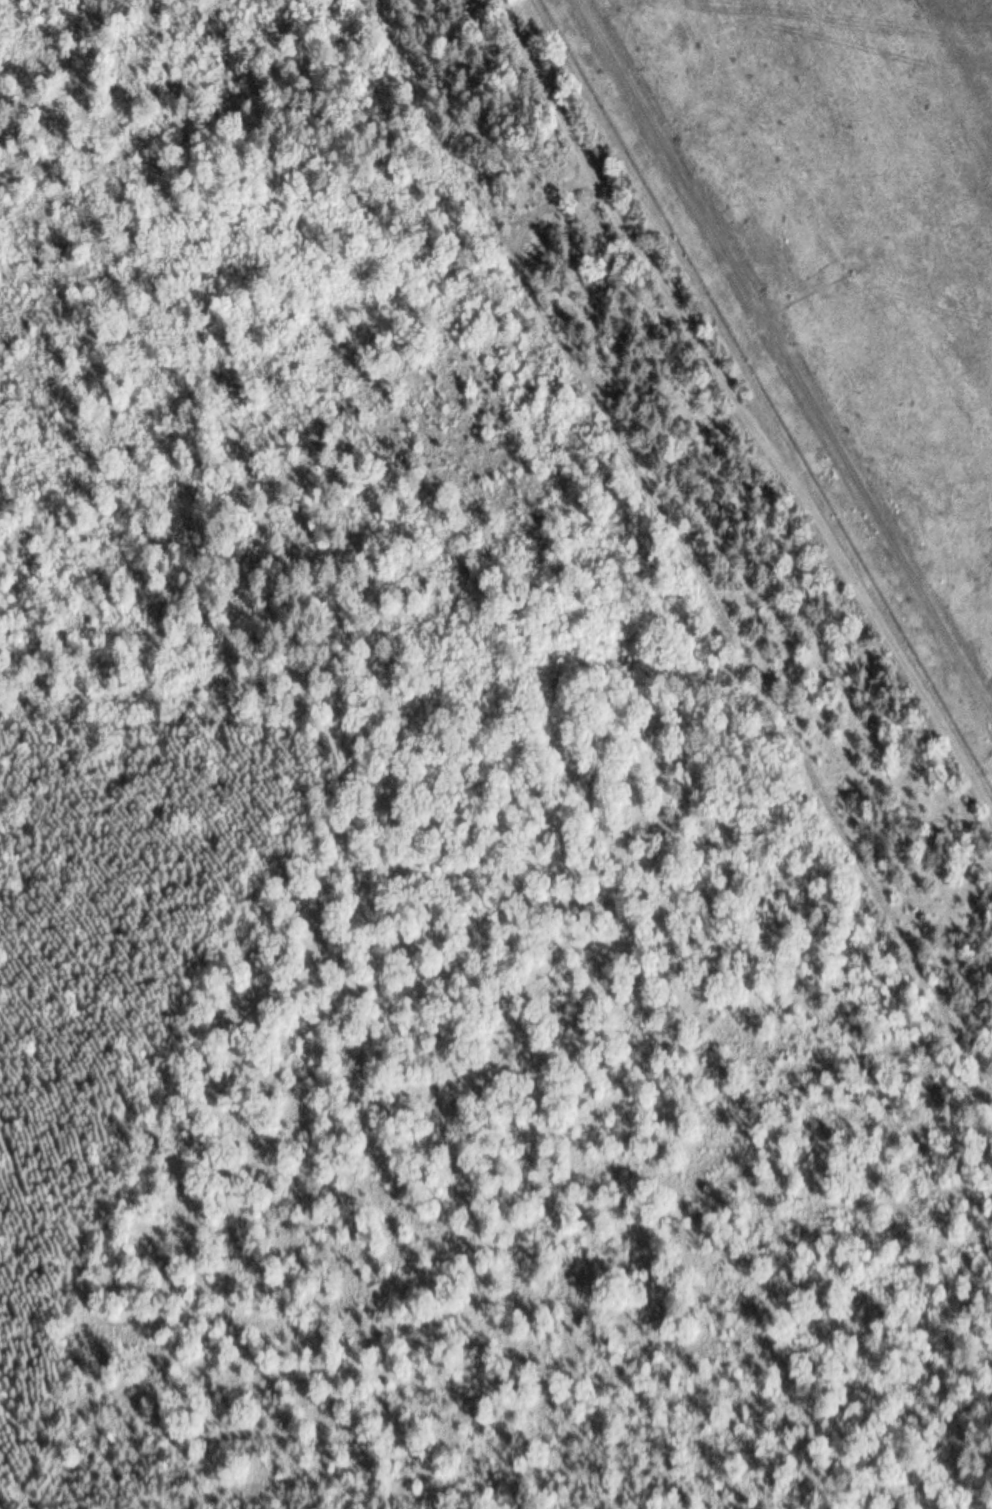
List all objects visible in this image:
road: (547, 86)
road: (537, 217)
airport: (840, 261)

